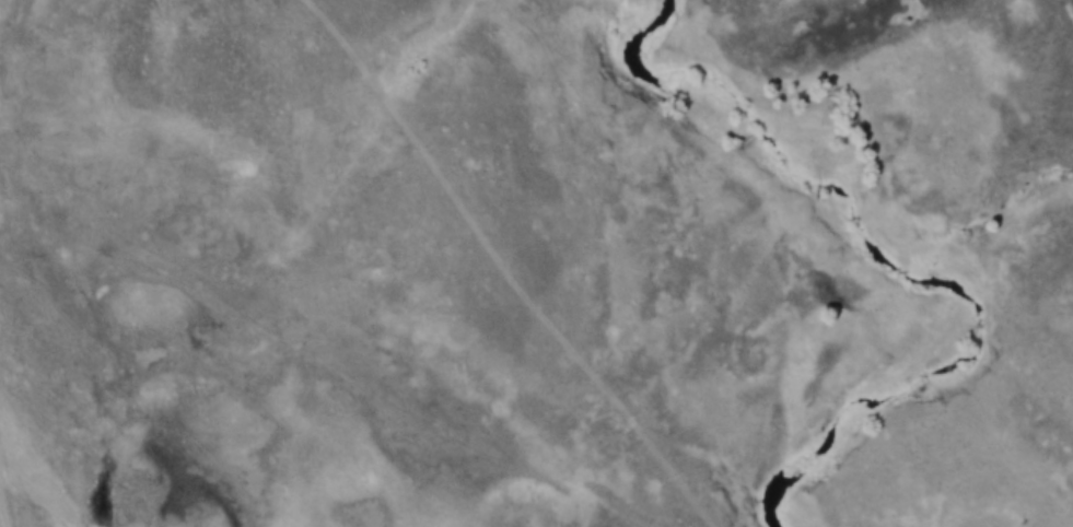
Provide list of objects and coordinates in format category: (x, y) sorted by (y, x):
road: (4, 505)

